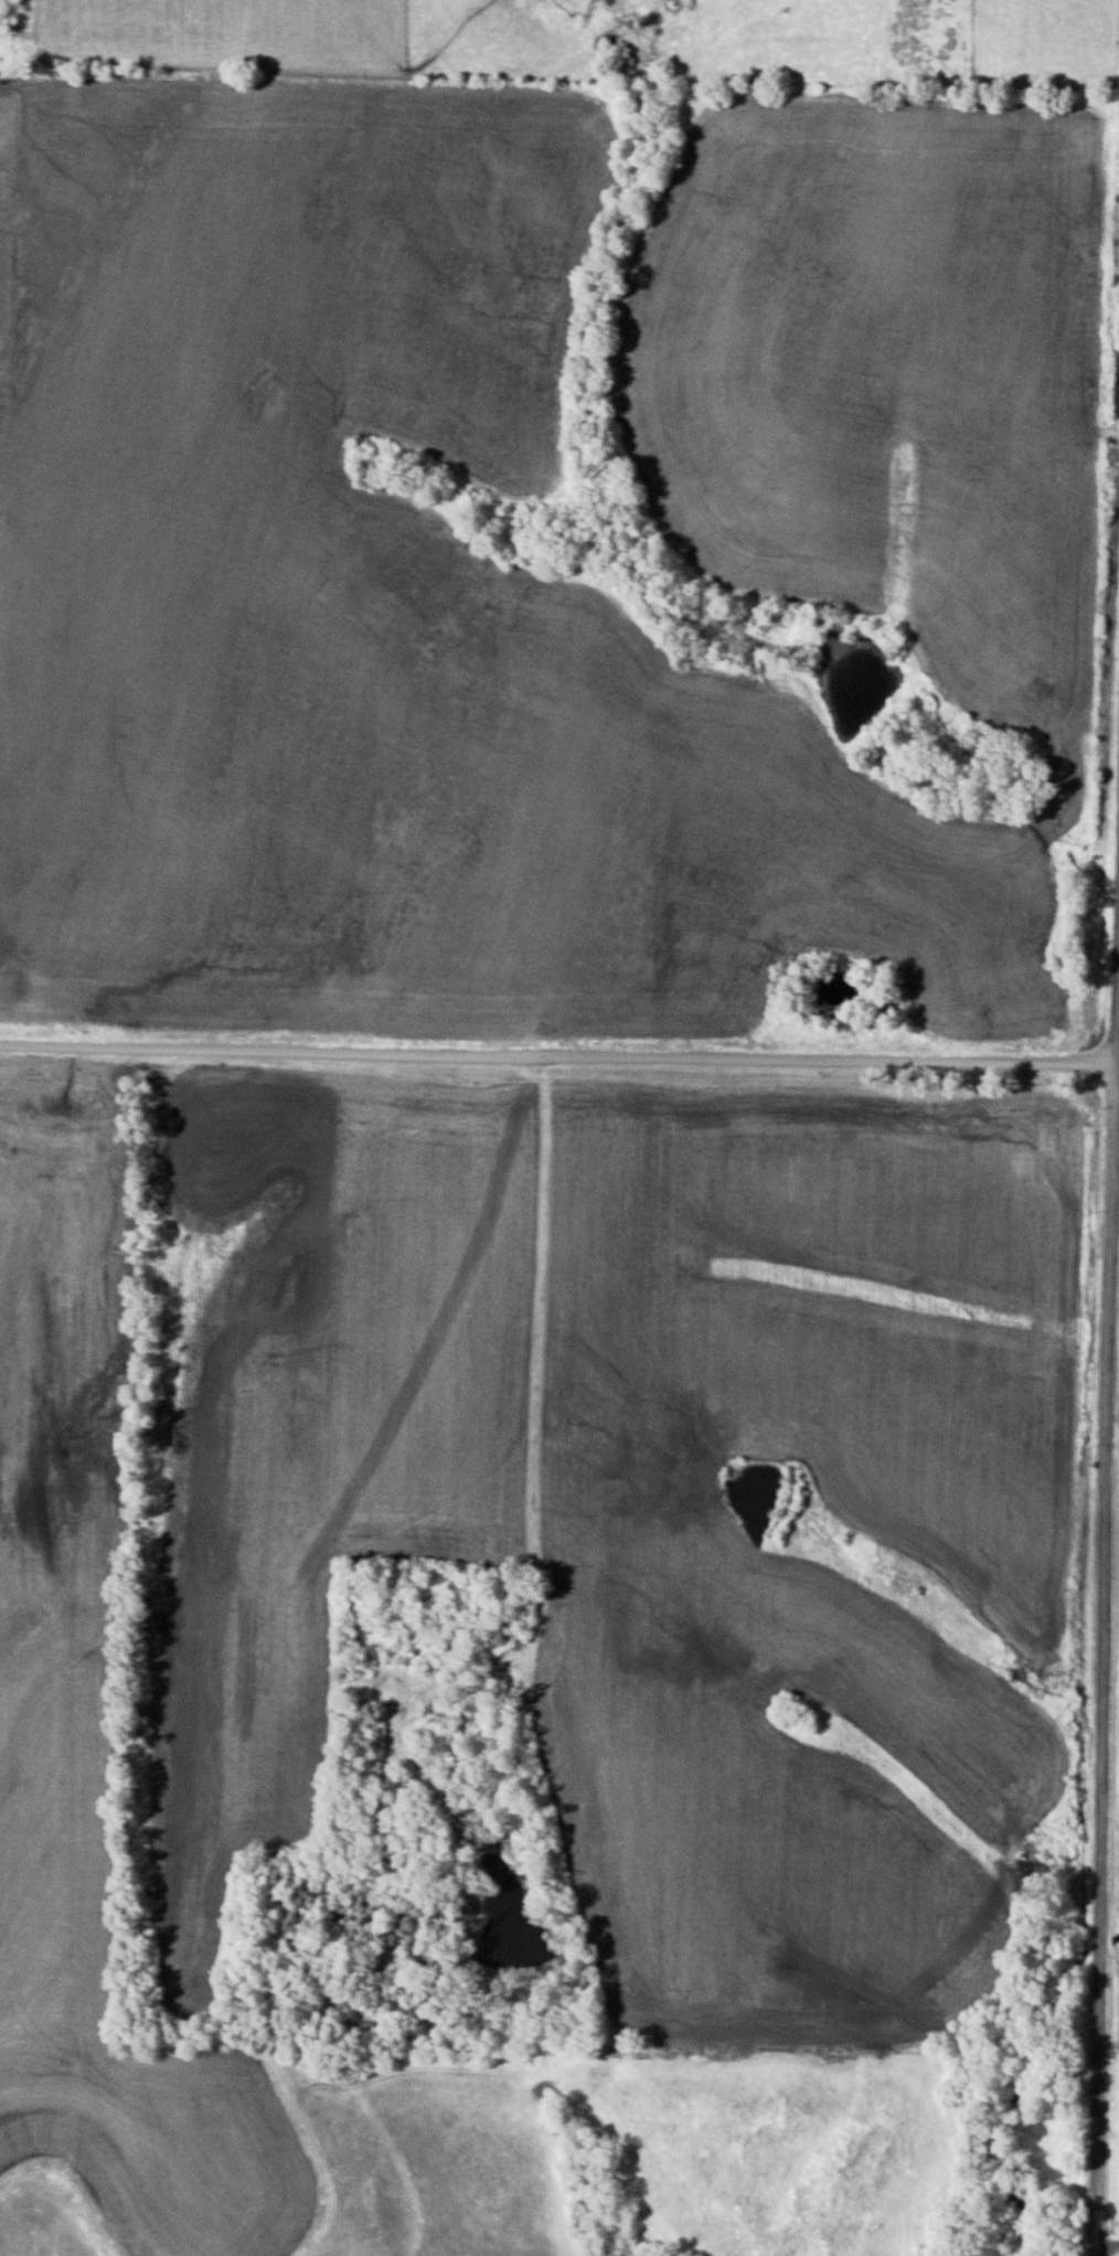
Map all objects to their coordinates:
road: (559, 1071)
road: (1110, 1909)

